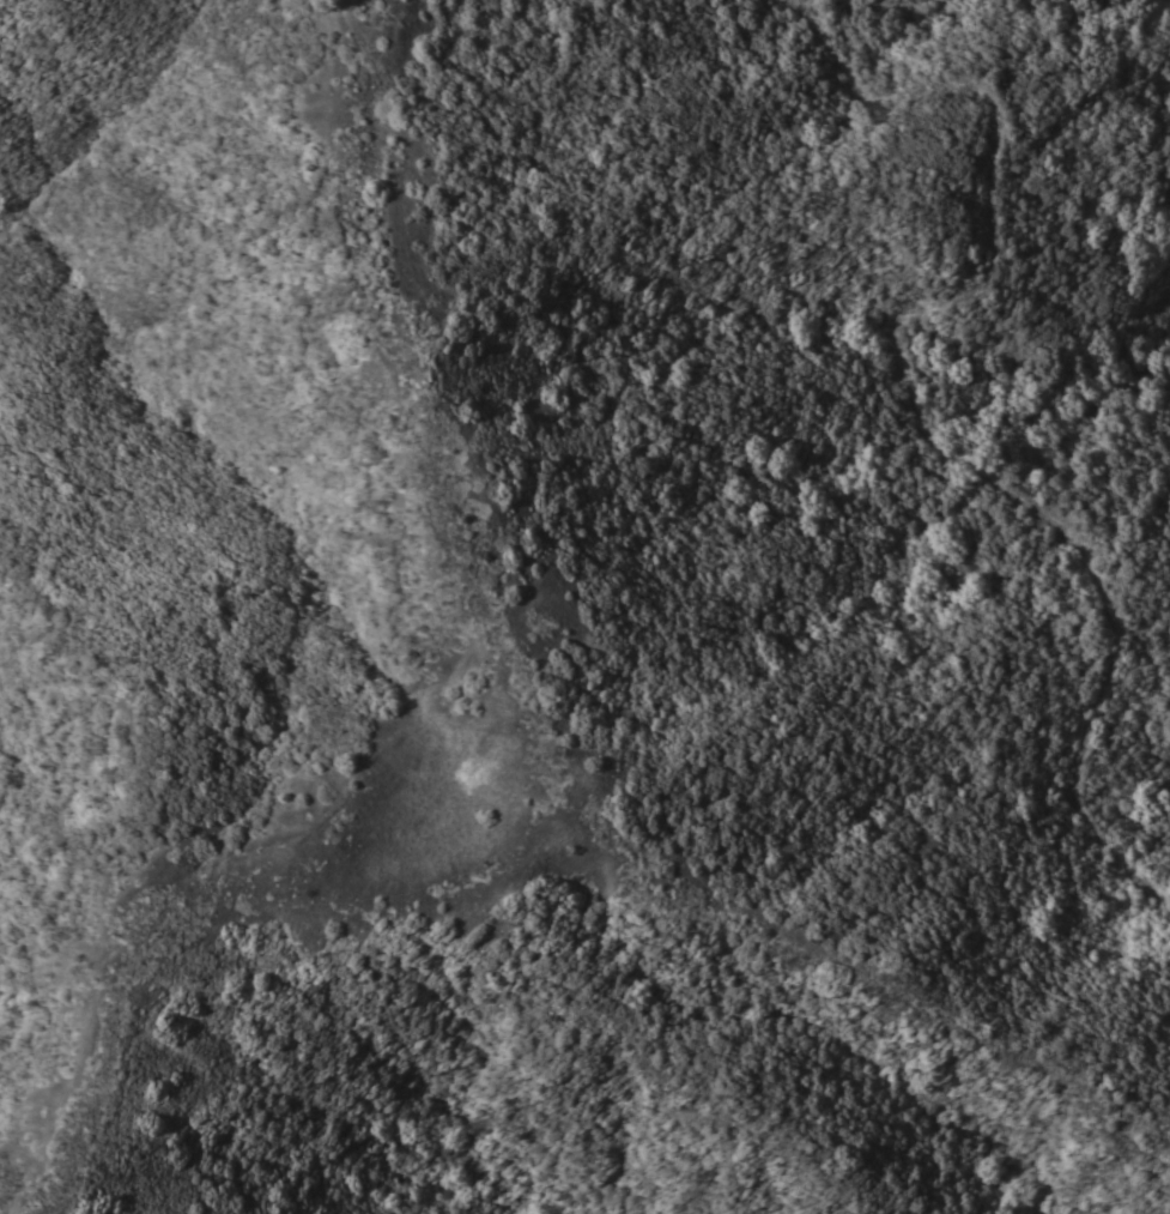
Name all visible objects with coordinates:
road: (978, 255)
road: (1122, 798)

